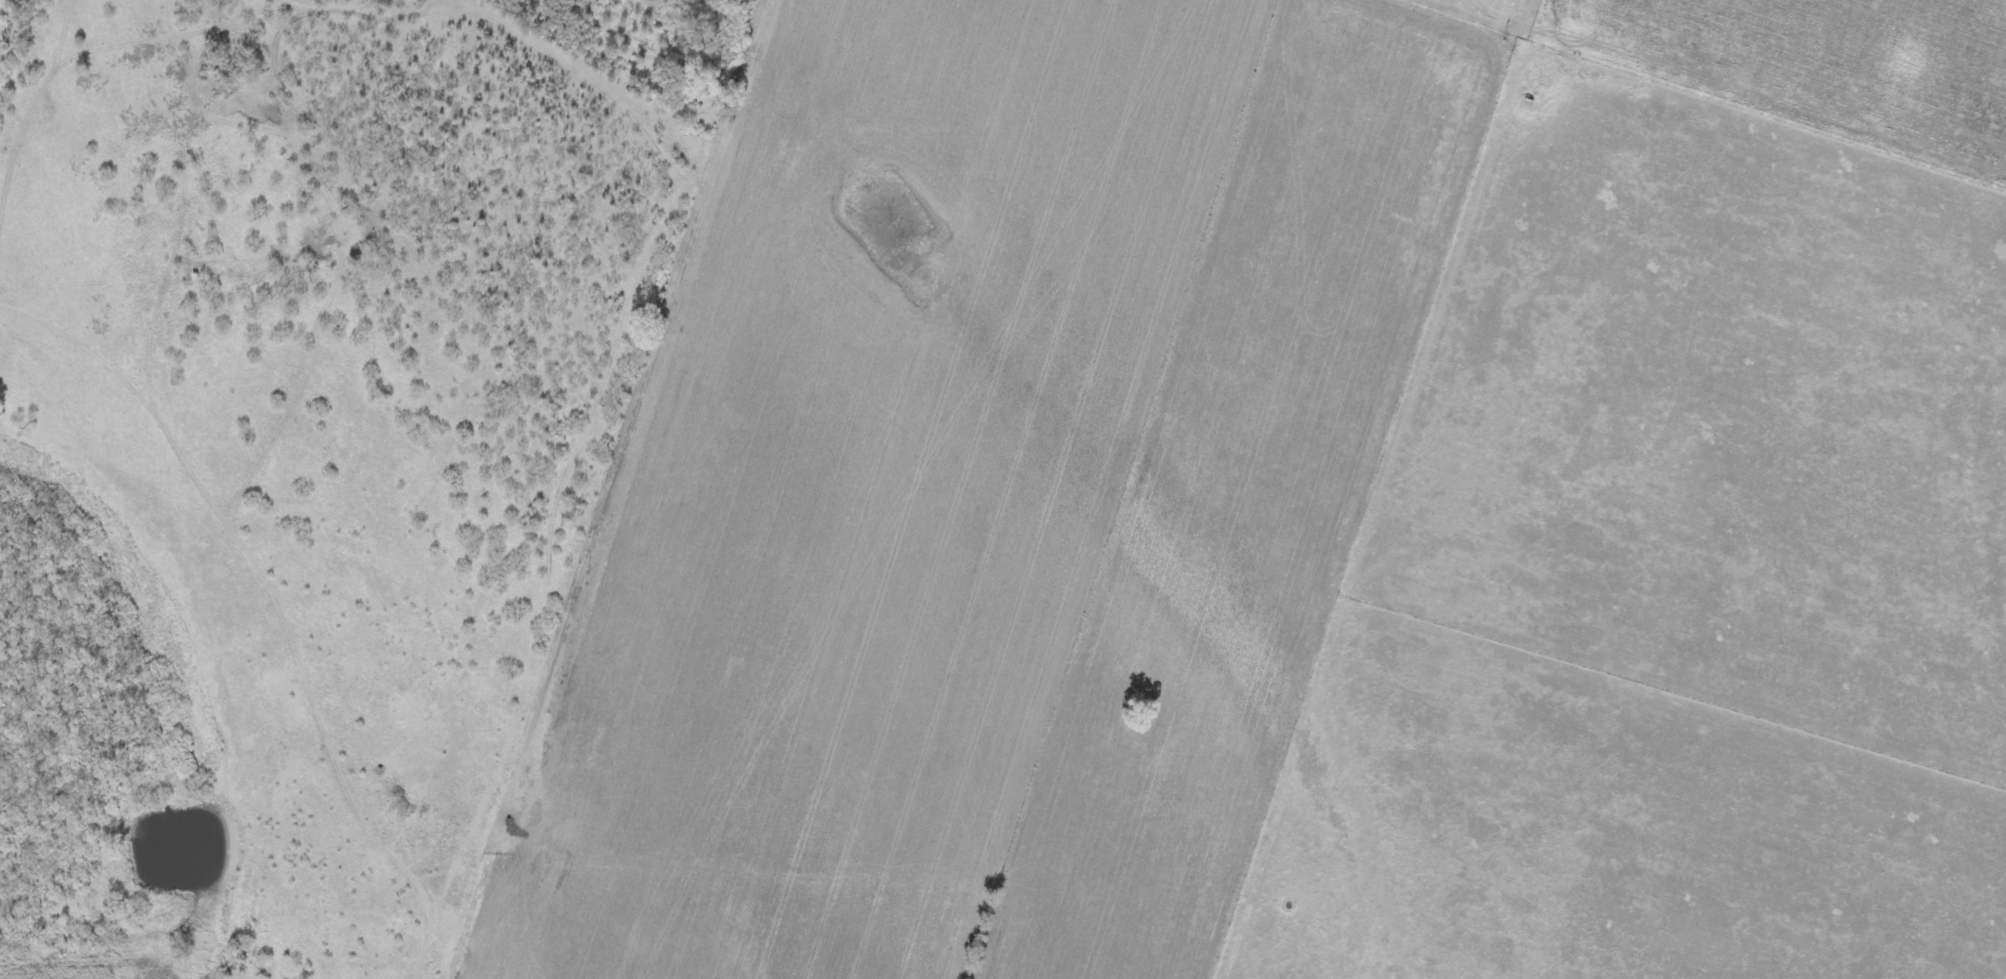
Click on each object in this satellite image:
road: (1339, 540)
road: (464, 976)

